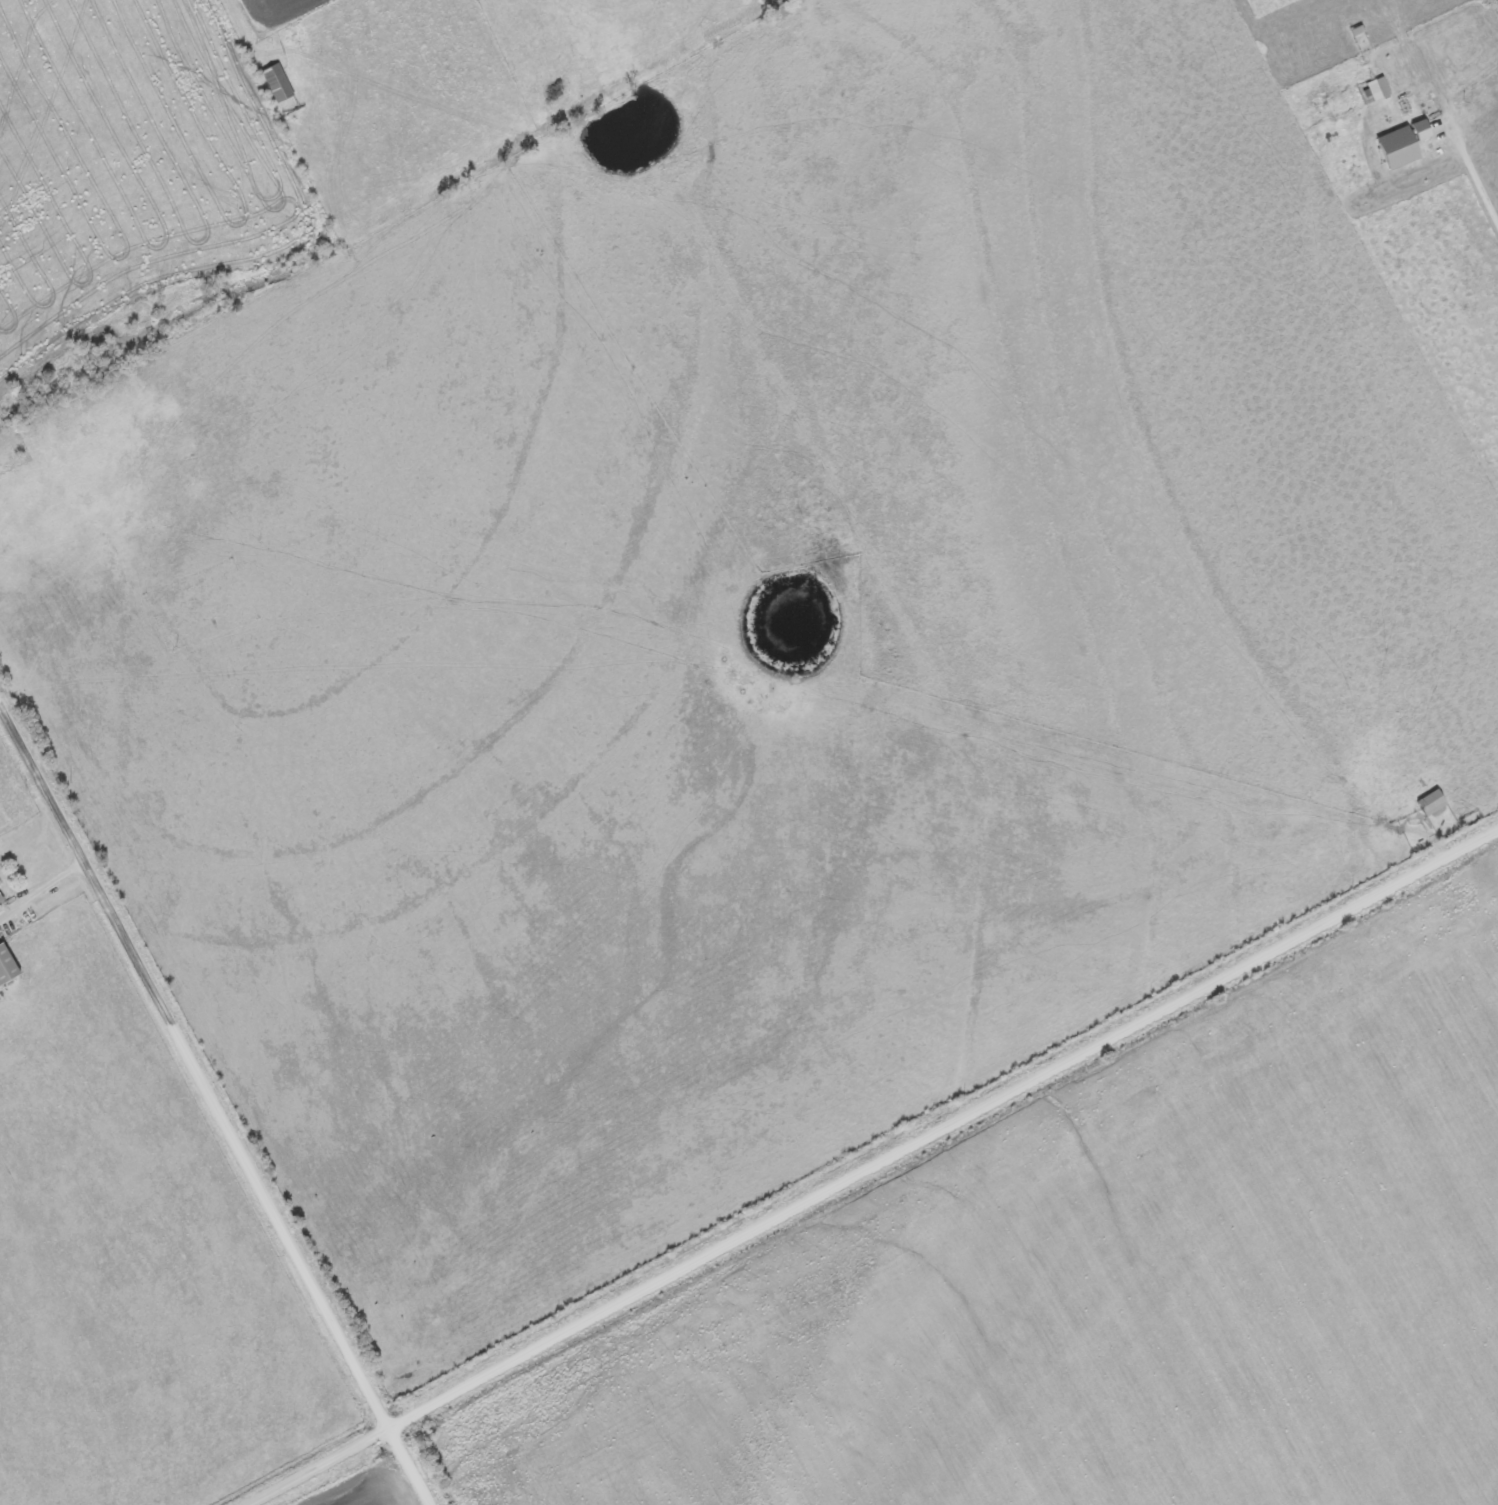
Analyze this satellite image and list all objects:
building: (280, 83)
building: (1375, 89)
building: (1399, 145)
building: (2, 901)
building: (8, 967)
road: (213, 1105)
road: (879, 1169)

